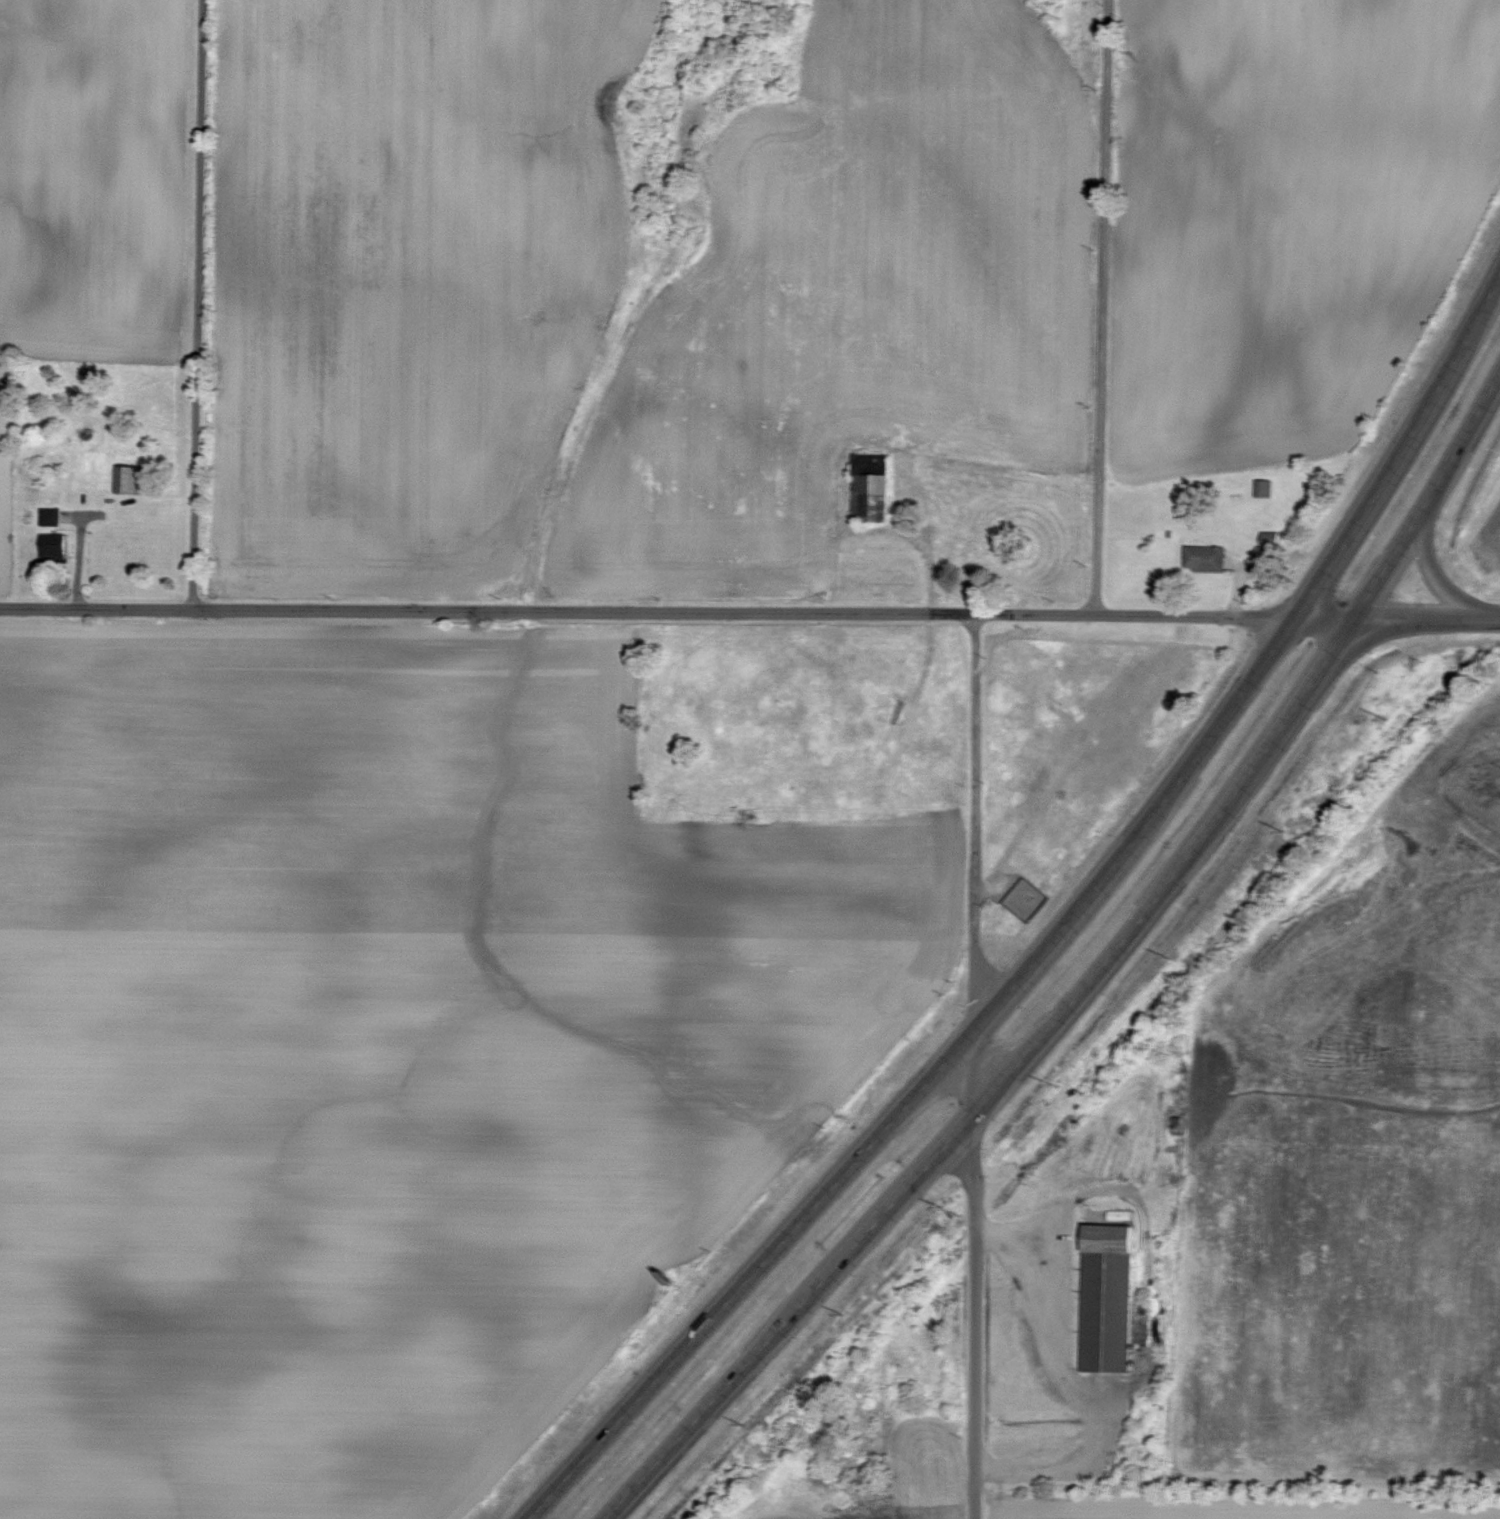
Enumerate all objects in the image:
road: (198, 306)
road: (1103, 307)
building: (131, 482)
building: (1264, 490)
building: (871, 500)
building: (51, 518)
road: (1486, 532)
building: (54, 548)
building: (1206, 559)
road: (1436, 572)
road: (750, 614)
road: (1059, 931)
road: (1093, 977)
road: (973, 1066)
building: (1118, 1216)
building: (1107, 1298)
road: (1062, 1379)

